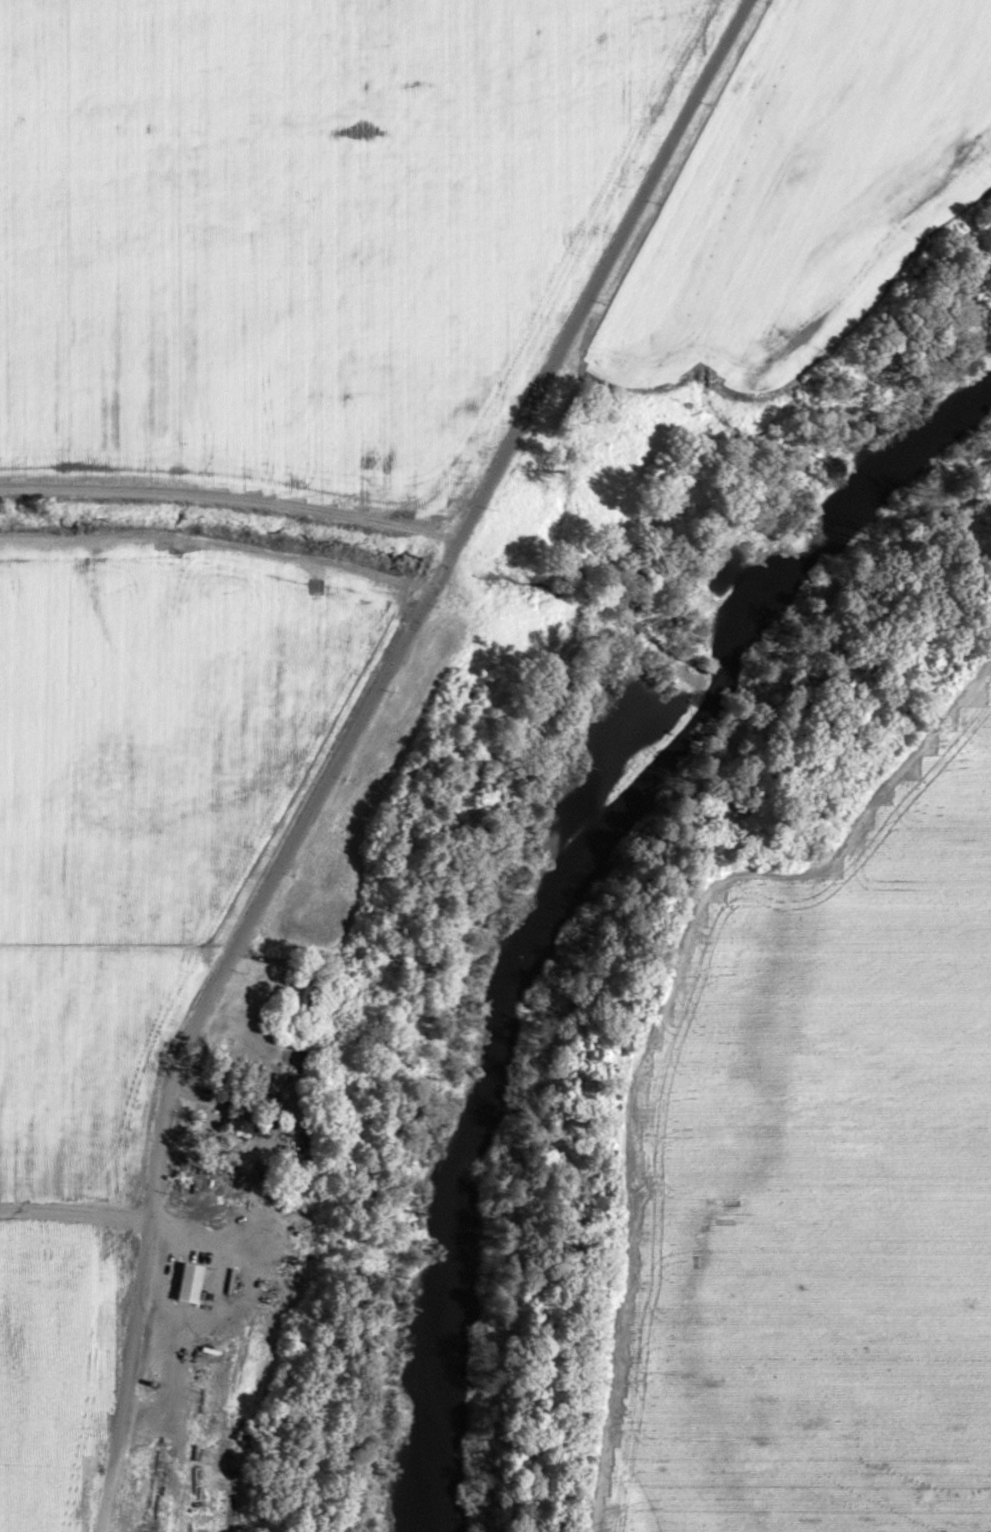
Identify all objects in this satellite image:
road: (374, 690)
river: (548, 878)
building: (300, 994)
building: (188, 1284)
road: (232, 1285)
road: (105, 1475)
road: (989, 1507)

